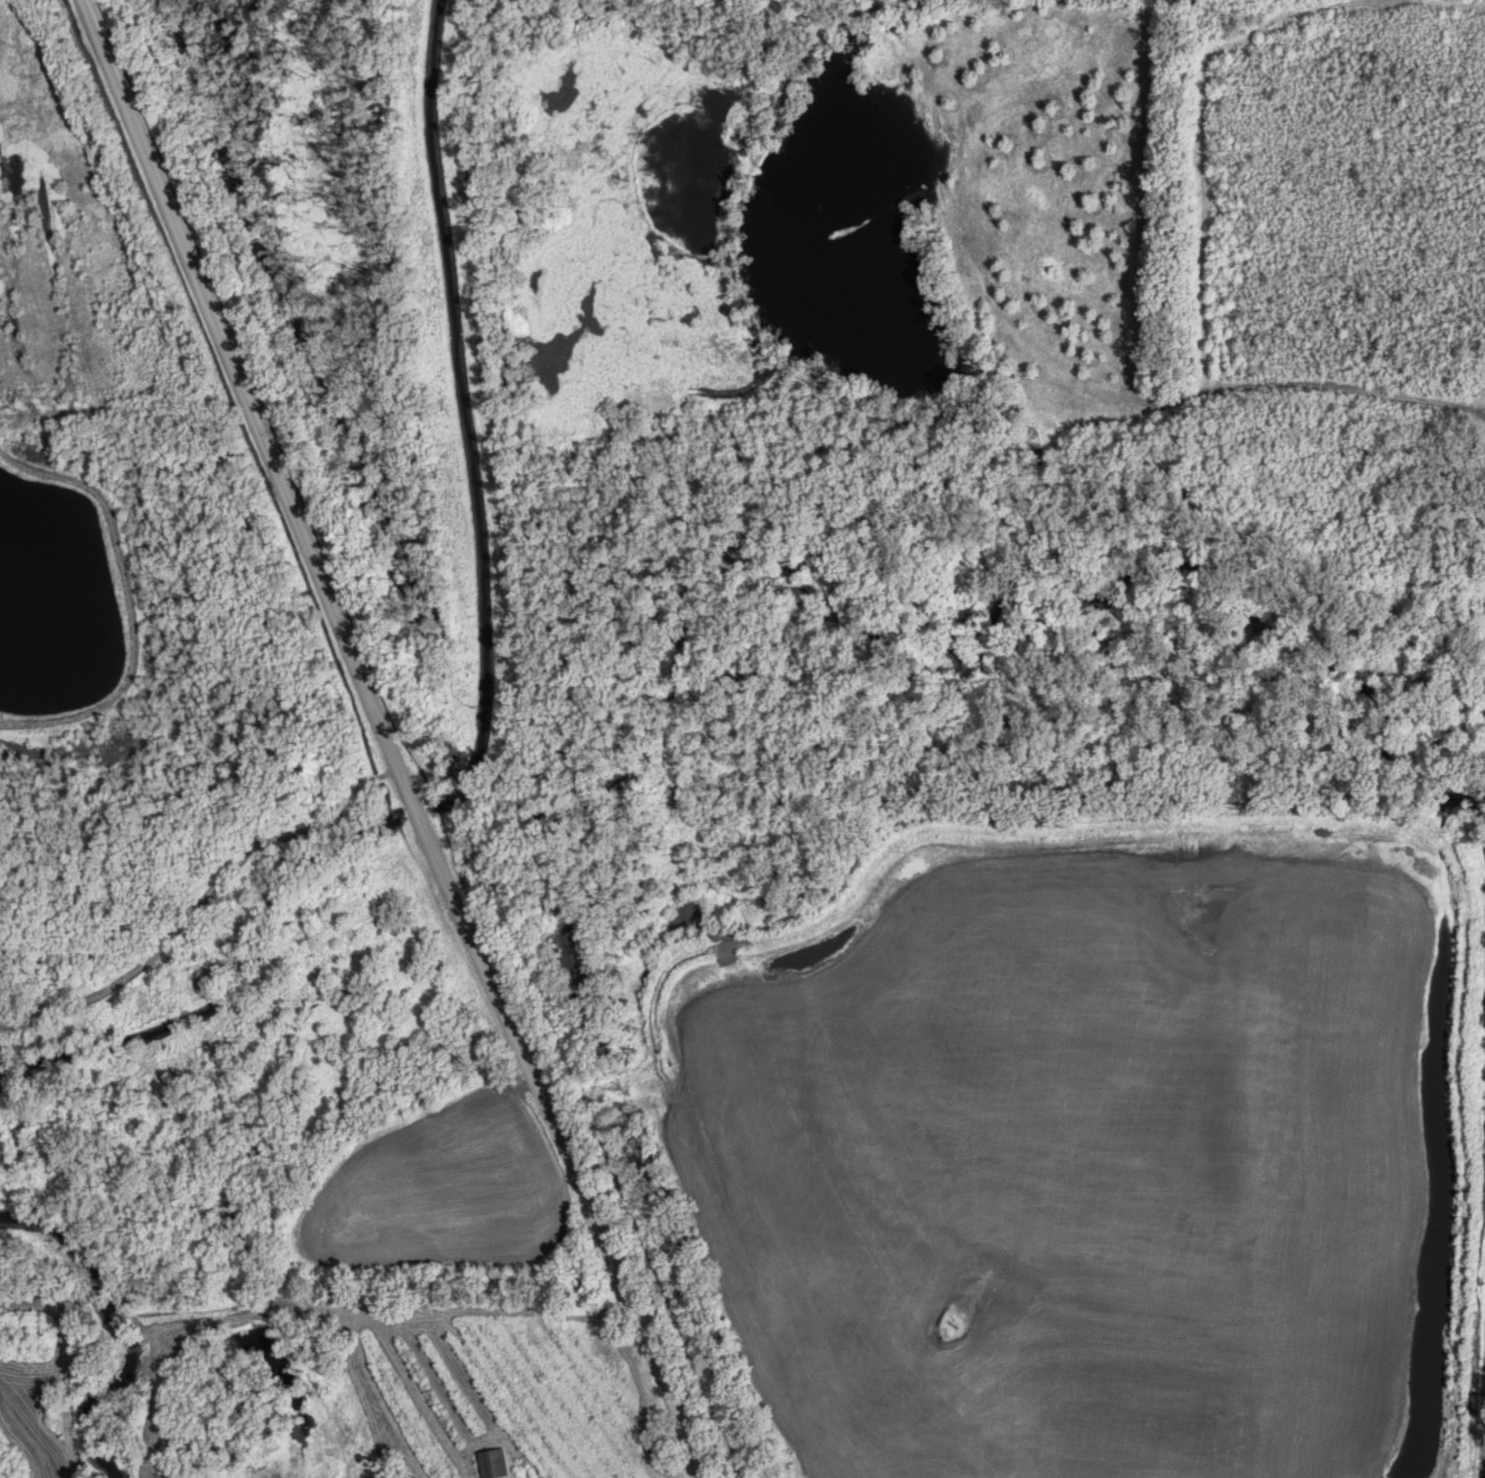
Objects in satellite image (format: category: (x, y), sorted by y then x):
road: (248, 399)
road: (557, 1137)
building: (491, 1463)

